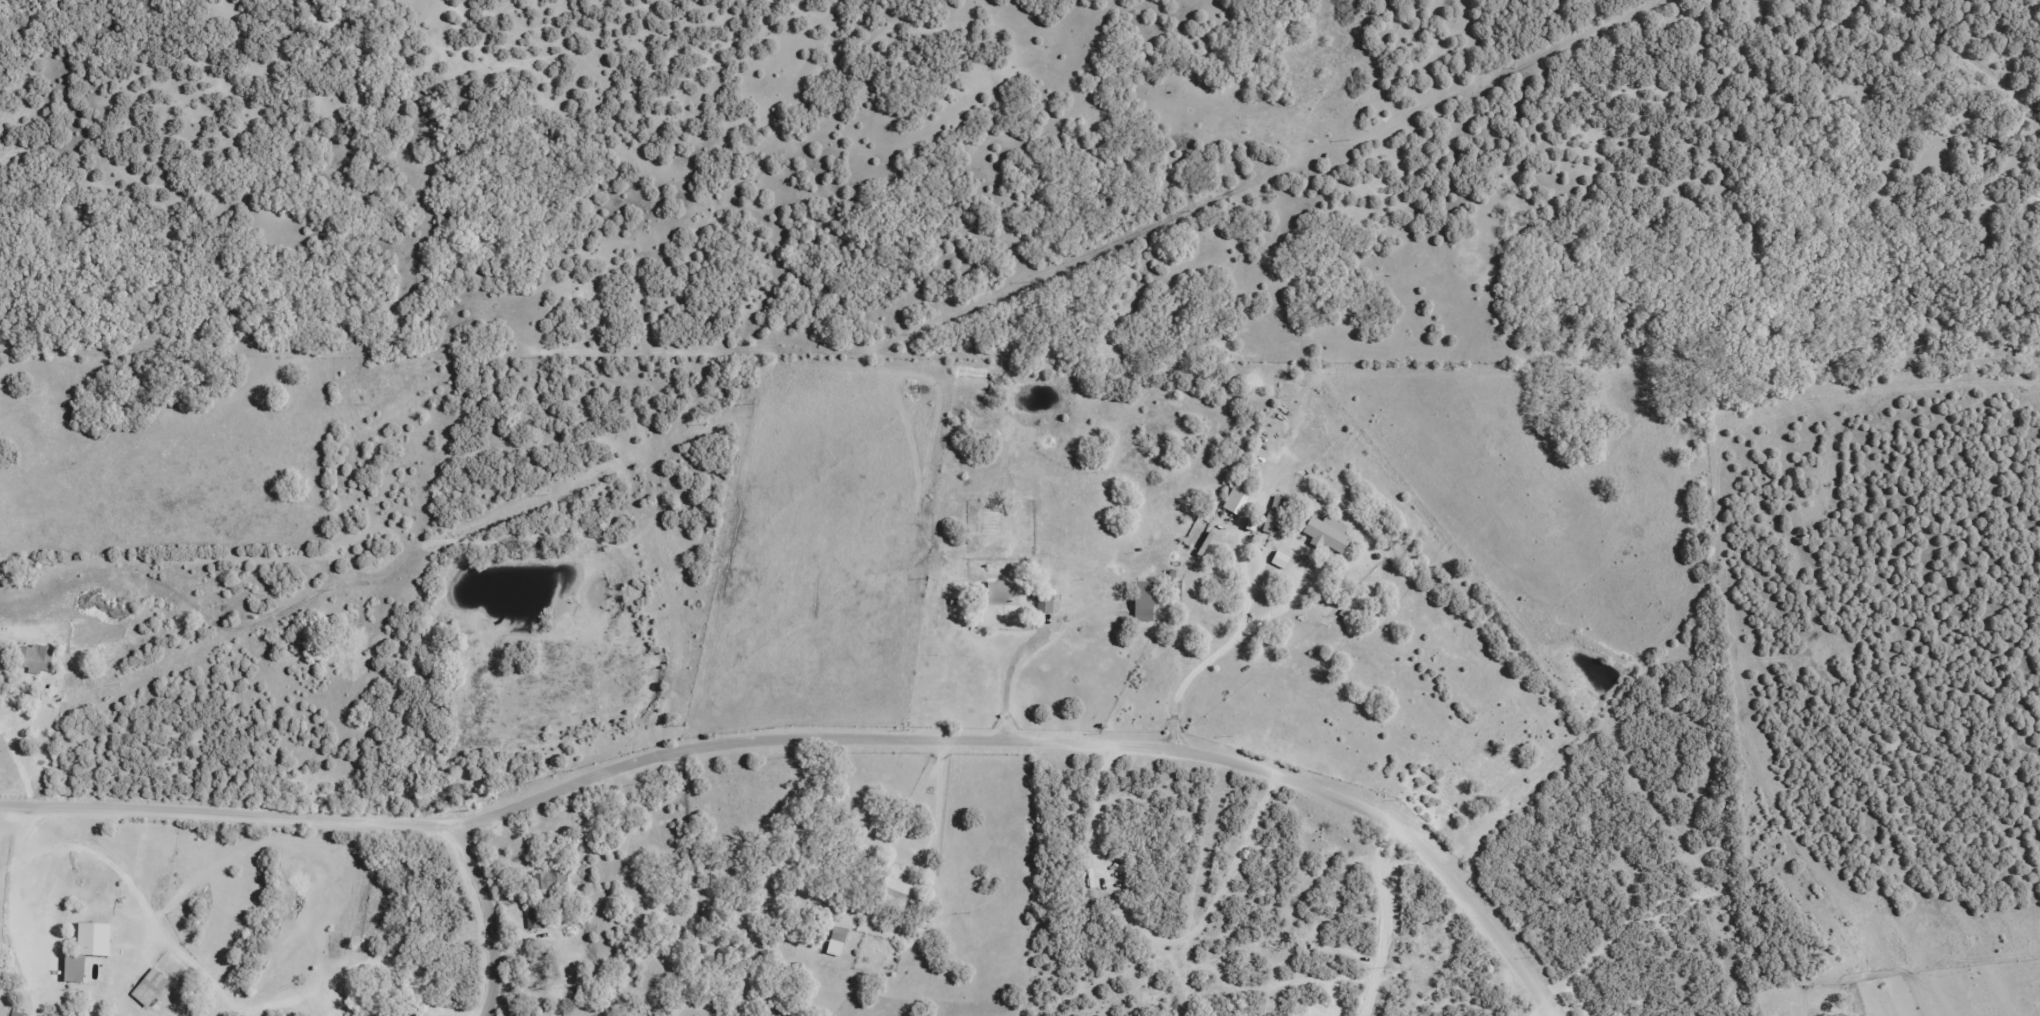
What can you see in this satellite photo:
building: (1268, 522)
building: (1324, 534)
building: (1002, 592)
building: (1141, 606)
building: (34, 657)
road: (1032, 738)
road: (53, 803)
road: (259, 812)
building: (549, 884)
building: (893, 892)
road: (491, 916)
building: (533, 921)
building: (835, 941)
building: (84, 949)
building: (148, 987)
road: (1543, 1011)
building: (16, 1013)
building: (381, 1014)

